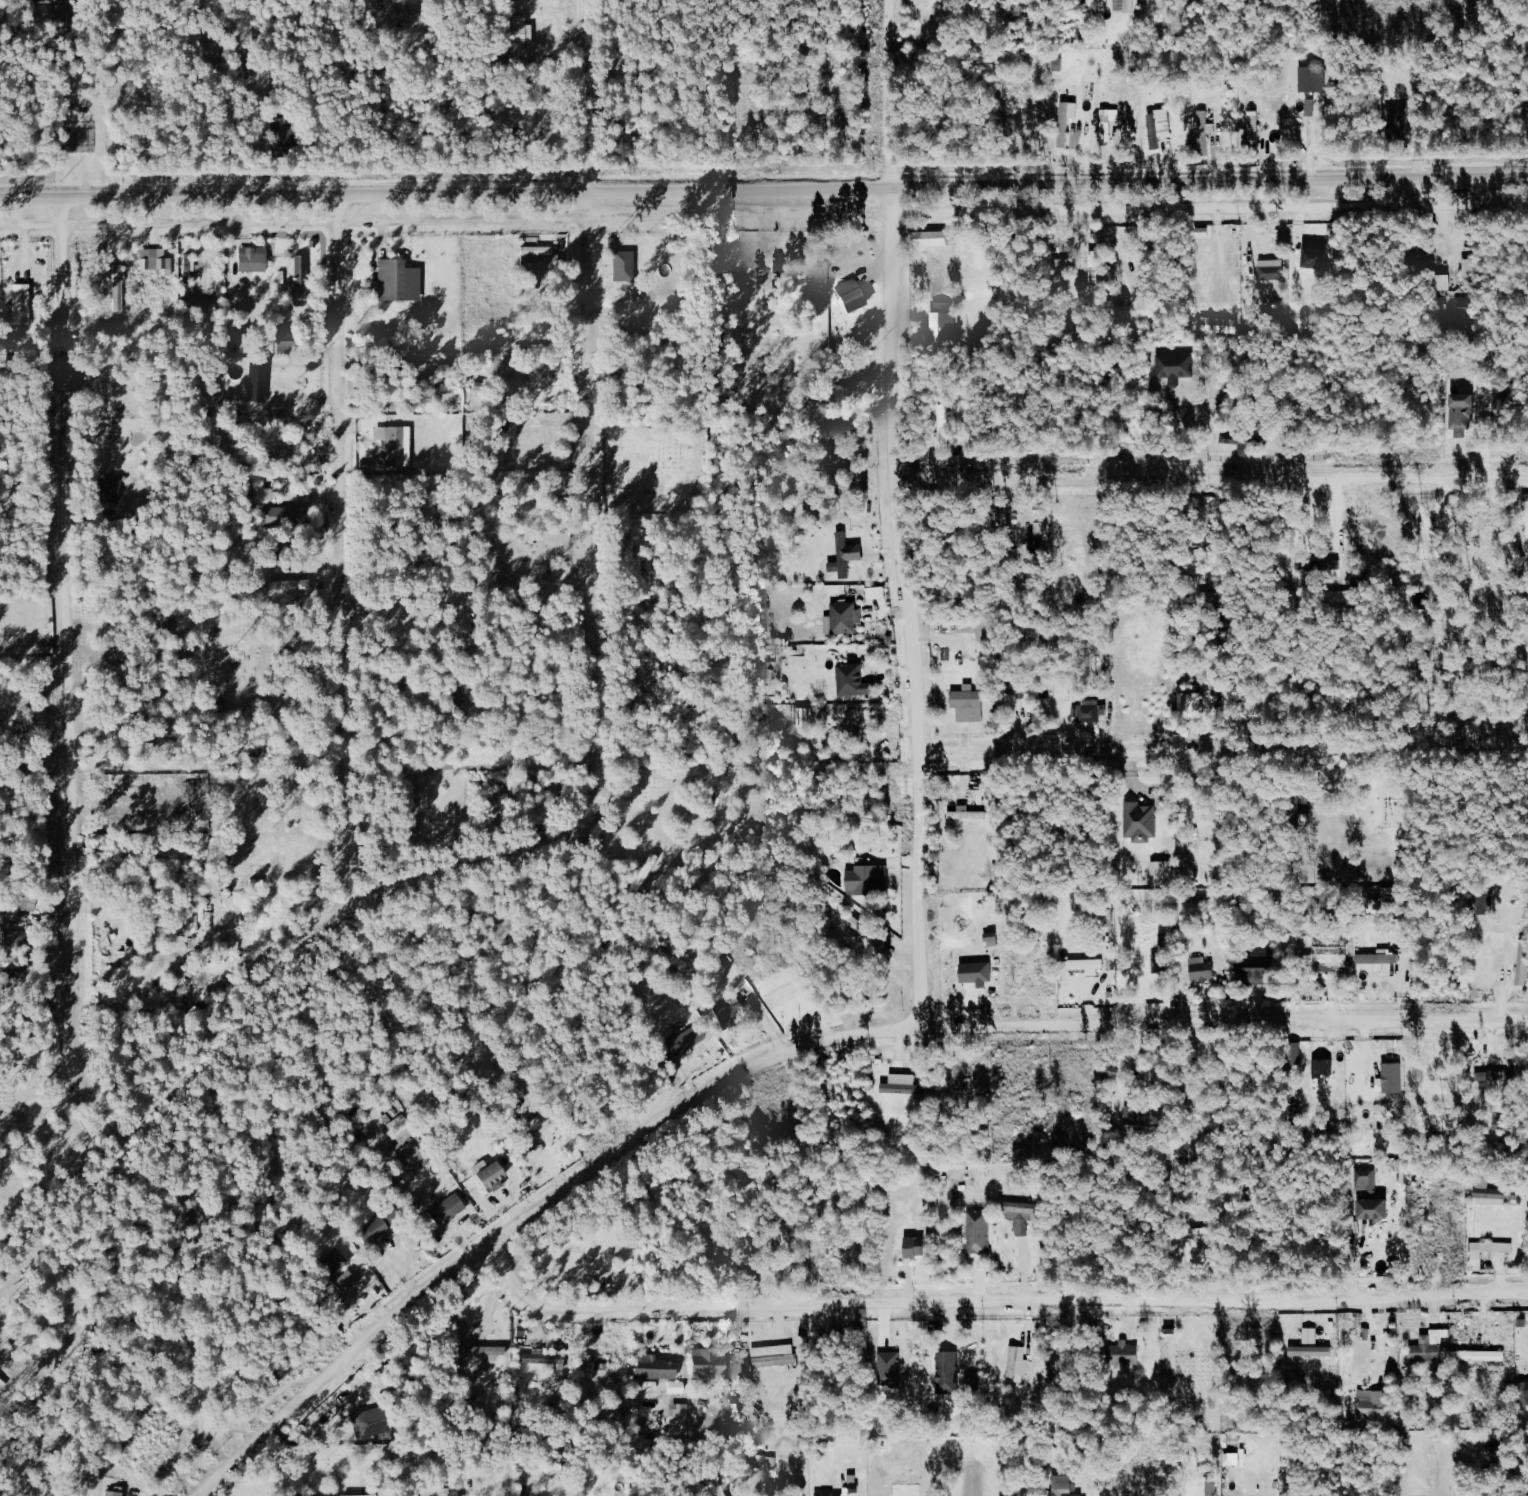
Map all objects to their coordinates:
building: (40, 1)
building: (1125, 6)
building: (520, 34)
building: (1059, 63)
building: (1311, 78)
building: (1315, 103)
building: (1065, 124)
building: (1399, 124)
building: (1254, 127)
building: (1159, 129)
building: (1204, 130)
building: (284, 137)
road: (763, 186)
road: (763, 211)
building: (1205, 232)
building: (923, 238)
building: (1314, 256)
building: (252, 258)
building: (542, 258)
building: (156, 261)
building: (624, 266)
building: (1273, 269)
building: (1470, 273)
building: (299, 278)
building: (390, 278)
building: (118, 288)
building: (850, 292)
building: (22, 304)
building: (206, 320)
building: (945, 323)
building: (1221, 325)
building: (181, 328)
building: (285, 342)
building: (404, 350)
building: (1174, 363)
building: (259, 382)
building: (1460, 411)
building: (944, 426)
building: (1242, 440)
building: (390, 445)
road: (1211, 482)
building: (264, 487)
building: (110, 490)
road: (897, 512)
building: (281, 516)
building: (846, 555)
road: (341, 563)
building: (1329, 565)
building: (287, 585)
building: (876, 593)
building: (845, 615)
building: (980, 630)
building: (849, 678)
building: (1018, 683)
road: (71, 687)
building: (966, 698)
building: (1214, 698)
building: (1191, 702)
building: (1088, 711)
road: (1223, 748)
road: (591, 792)
building: (967, 813)
building: (1141, 822)
building: (1163, 874)
building: (866, 878)
building: (1483, 903)
building: (867, 929)
building: (13, 939)
building: (1380, 957)
building: (124, 960)
building: (1326, 960)
building: (14, 961)
building: (1523, 962)
building: (1088, 965)
building: (1202, 969)
building: (1257, 969)
building: (978, 972)
building: (730, 1015)
road: (1224, 1020)
building: (687, 1040)
building: (1295, 1050)
building: (1323, 1067)
building: (1394, 1077)
building: (902, 1083)
building: (1148, 1117)
building: (1503, 1124)
building: (542, 1143)
building: (414, 1154)
building: (492, 1177)
building: (1366, 1179)
building: (1492, 1193)
building: (1375, 1208)
building: (448, 1210)
road: (532, 1214)
building: (1023, 1215)
building: (376, 1231)
building: (979, 1231)
building: (916, 1246)
building: (1487, 1251)
building: (334, 1263)
building: (347, 1282)
road: (994, 1301)
building: (1311, 1335)
building: (1311, 1351)
building: (1450, 1351)
building: (487, 1352)
building: (1124, 1353)
building: (774, 1355)
building: (544, 1358)
building: (1019, 1363)
building: (710, 1366)
building: (655, 1367)
building: (890, 1368)
building: (950, 1372)
building: (1523, 1390)
building: (1372, 1409)
building: (369, 1423)
building: (680, 1425)
building: (119, 1488)
building: (1065, 1490)
building: (830, 1493)
building: (369, 1495)

